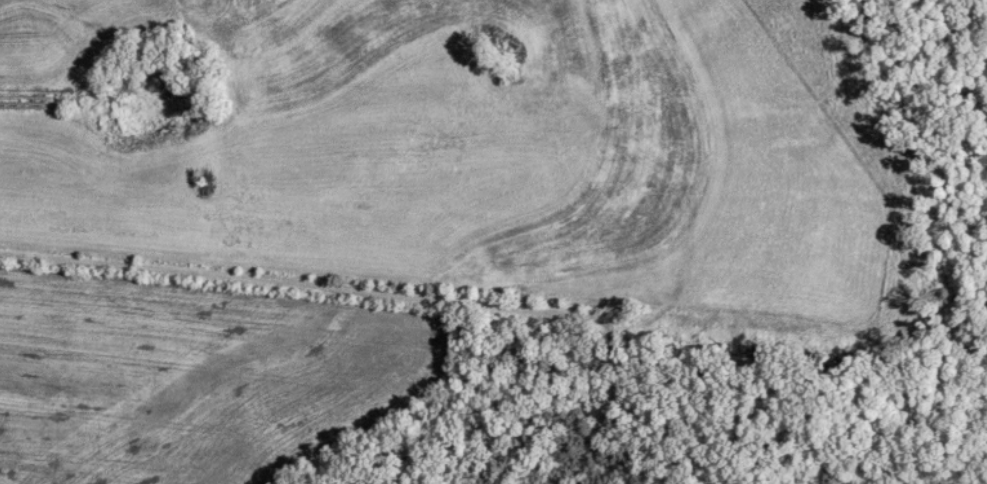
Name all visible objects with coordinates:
road: (519, 329)
road: (648, 432)
road: (974, 477)

